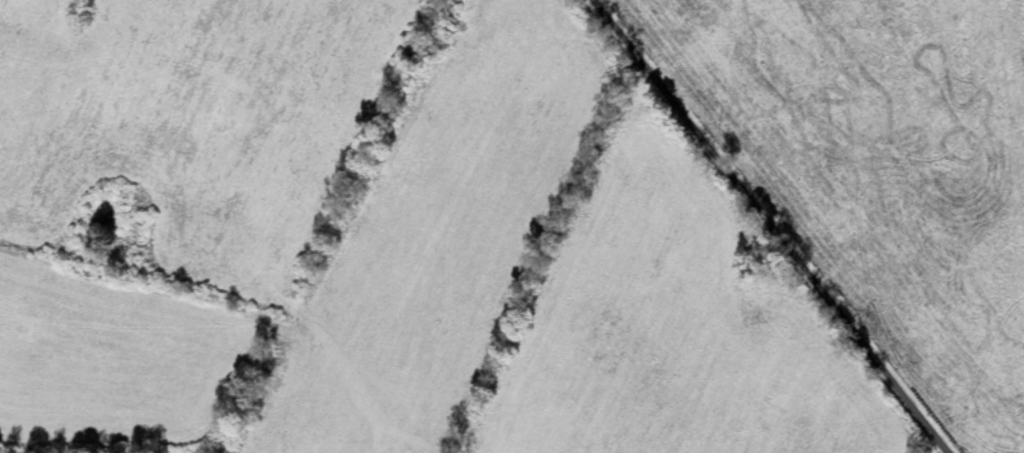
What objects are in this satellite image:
road: (751, 201)
road: (926, 428)

